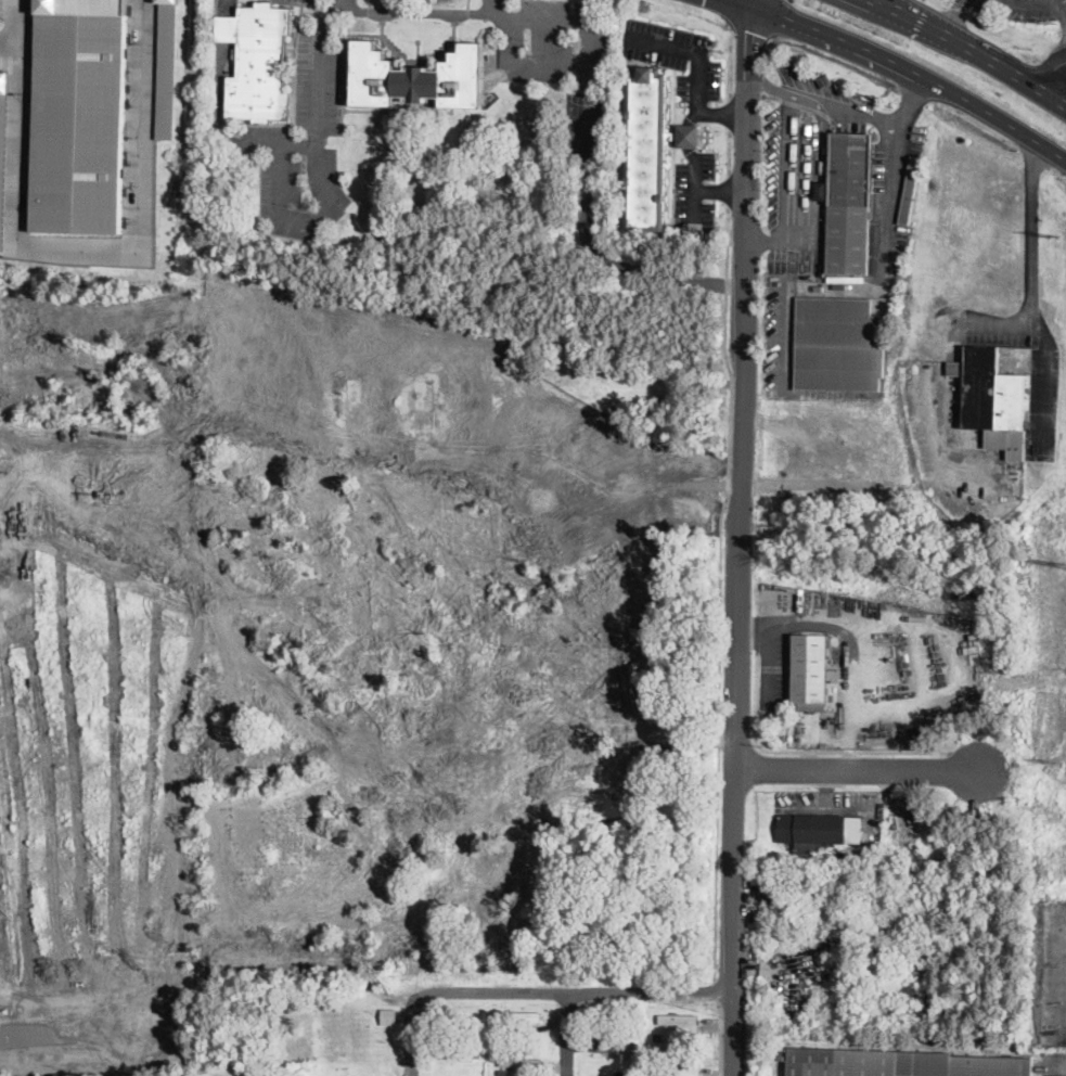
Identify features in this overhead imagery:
road: (884, 0)
road: (1003, 1)
road: (742, 3)
road: (752, 3)
road: (710, 4)
road: (227, 7)
road: (415, 9)
road: (497, 12)
road: (1061, 14)
road: (953, 15)
road: (774, 20)
power tower: (1052, 21)
road: (226, 28)
traffic signals: (752, 28)
road: (750, 36)
road: (11, 48)
road: (694, 48)
road: (977, 48)
road: (588, 57)
building: (257, 62)
building: (166, 66)
road: (731, 66)
road: (318, 68)
road: (914, 72)
road: (1053, 76)
building: (416, 77)
road: (768, 87)
road: (909, 103)
road: (840, 111)
road: (723, 113)
road: (730, 114)
building: (78, 115)
road: (219, 121)
road: (685, 132)
road: (583, 138)
building: (3, 145)
building: (650, 148)
road: (730, 152)
road: (801, 169)
road: (722, 188)
road: (695, 190)
building: (910, 191)
road: (729, 192)
building: (848, 203)
road: (890, 209)
road: (291, 216)
road: (1031, 232)
building: (707, 233)
power tower: (1053, 234)
road: (773, 240)
road: (85, 261)
building: (839, 345)
road: (939, 364)
road: (1048, 383)
building: (347, 388)
building: (993, 400)
building: (423, 402)
road: (742, 540)
building: (640, 580)
road: (721, 593)
road: (849, 645)
building: (809, 670)
road: (842, 753)
building: (629, 758)
power tower: (1055, 759)
road: (853, 766)
road: (827, 785)
road: (831, 807)
building: (818, 832)
building: (900, 860)
building: (900, 881)
building: (909, 882)
building: (904, 991)
road: (717, 992)
road: (576, 995)
building: (962, 1008)
building: (387, 1015)
building: (522, 1016)
building: (680, 1020)
building: (634, 1034)
road: (568, 1036)
road: (412, 1039)
road: (721, 1040)
building: (624, 1042)
building: (611, 1048)
building: (455, 1053)
building: (521, 1062)
building: (899, 1063)
building: (679, 1072)
building: (502, 1074)

